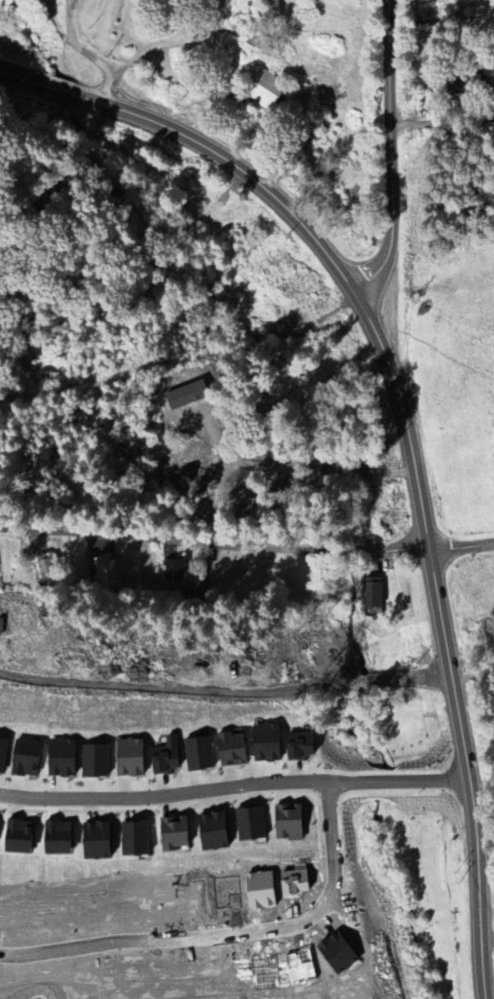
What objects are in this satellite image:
road: (72, 49)
building: (264, 91)
road: (386, 159)
road: (406, 429)
road: (315, 463)
road: (212, 546)
road: (460, 551)
building: (46, 571)
building: (173, 571)
building: (106, 573)
building: (195, 592)
building: (373, 594)
road: (471, 659)
road: (225, 690)
building: (266, 744)
building: (300, 747)
building: (230, 751)
building: (198, 755)
building: (60, 759)
building: (128, 759)
building: (94, 761)
building: (163, 761)
road: (231, 789)
building: (288, 822)
building: (250, 825)
building: (213, 833)
building: (173, 835)
building: (18, 838)
building: (135, 840)
building: (97, 842)
road: (228, 937)
road: (489, 942)

